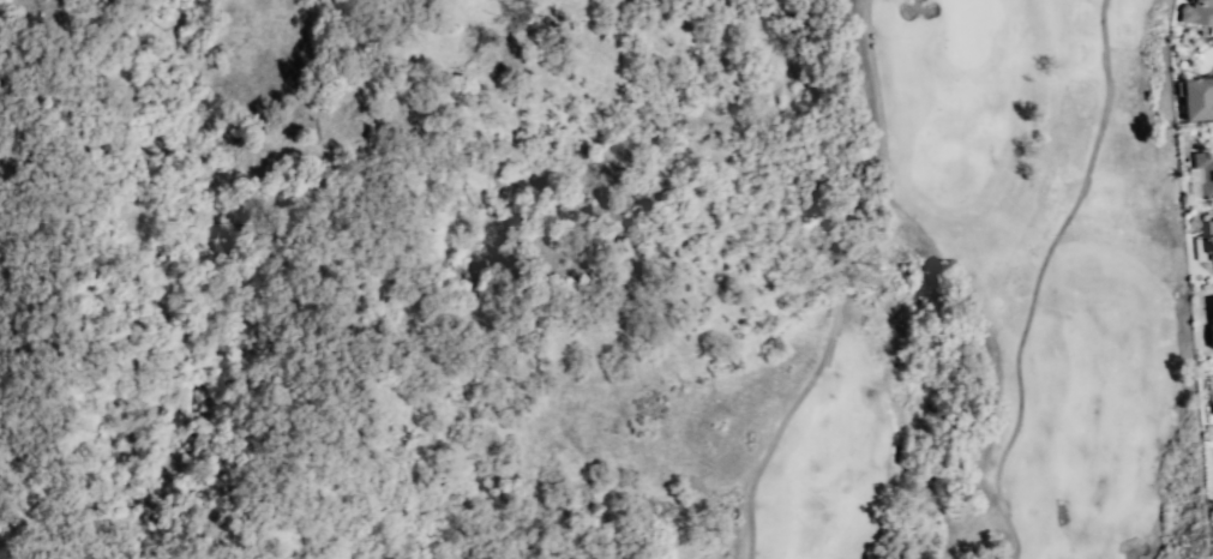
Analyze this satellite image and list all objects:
building: (1199, 12)
building: (1199, 98)
building: (1209, 174)
building: (1208, 236)
road: (1040, 277)
road: (908, 300)
park: (998, 307)
building: (1211, 318)

